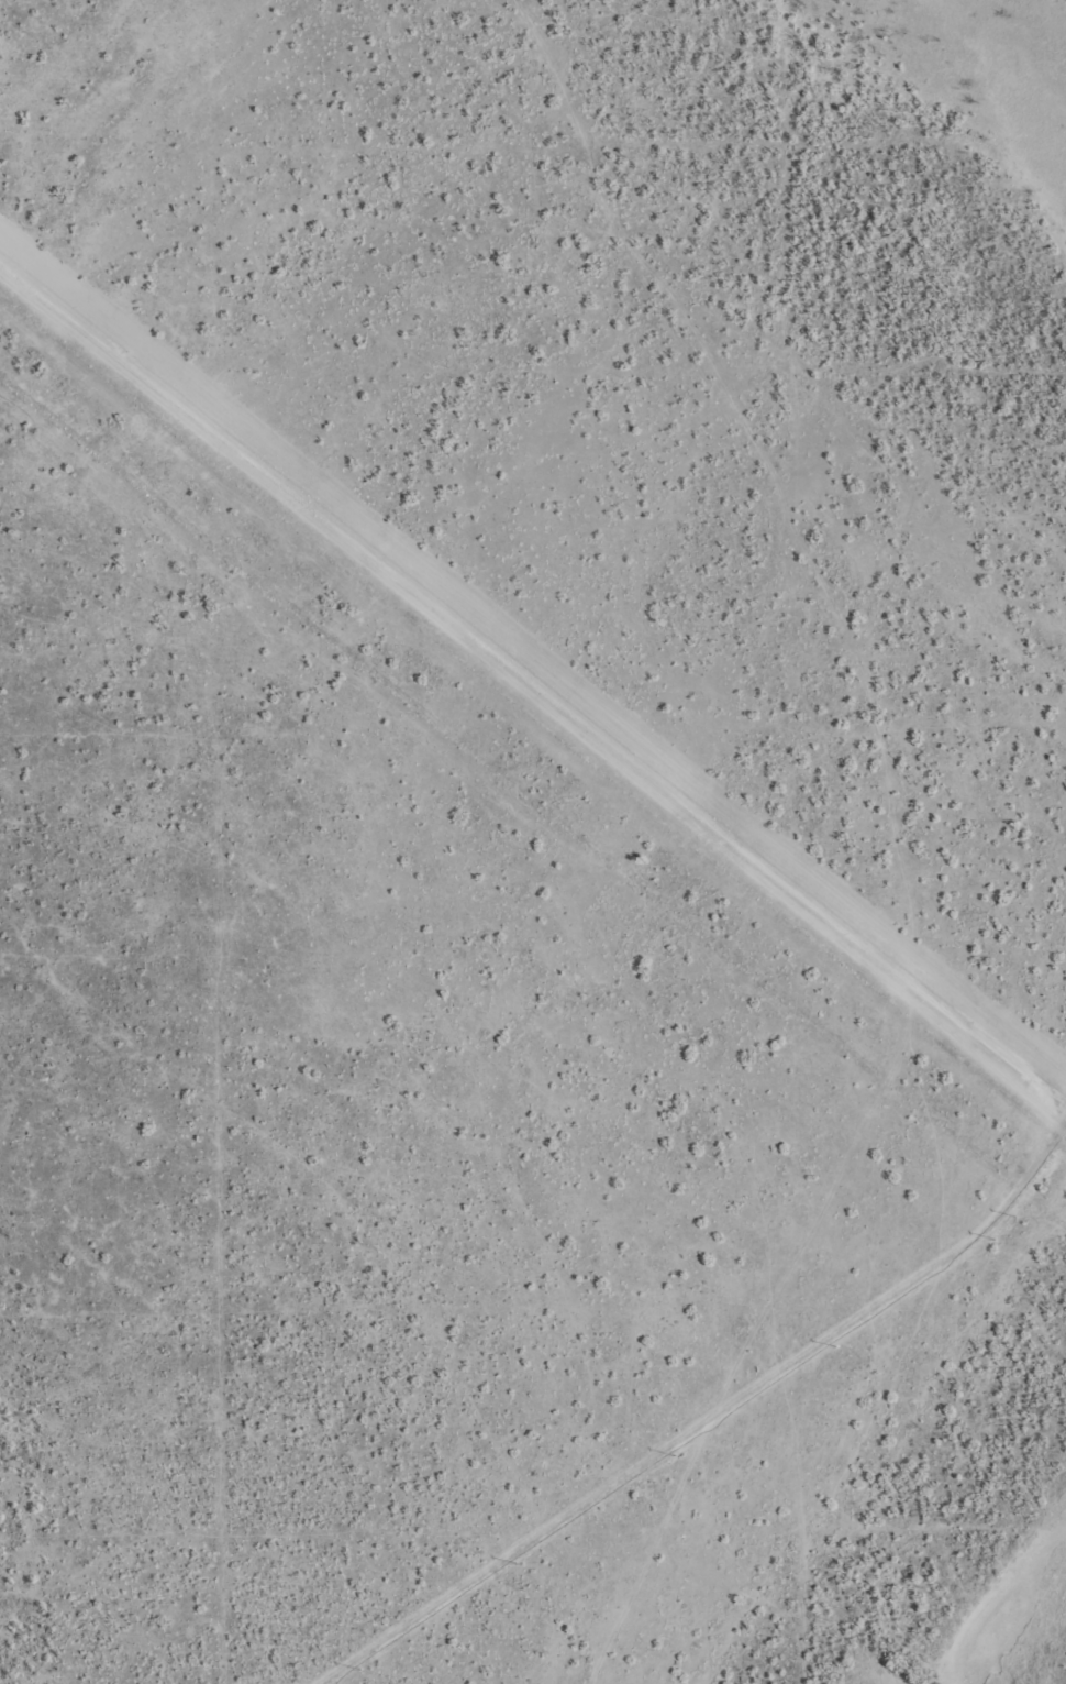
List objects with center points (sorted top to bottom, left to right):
road: (837, 846)

